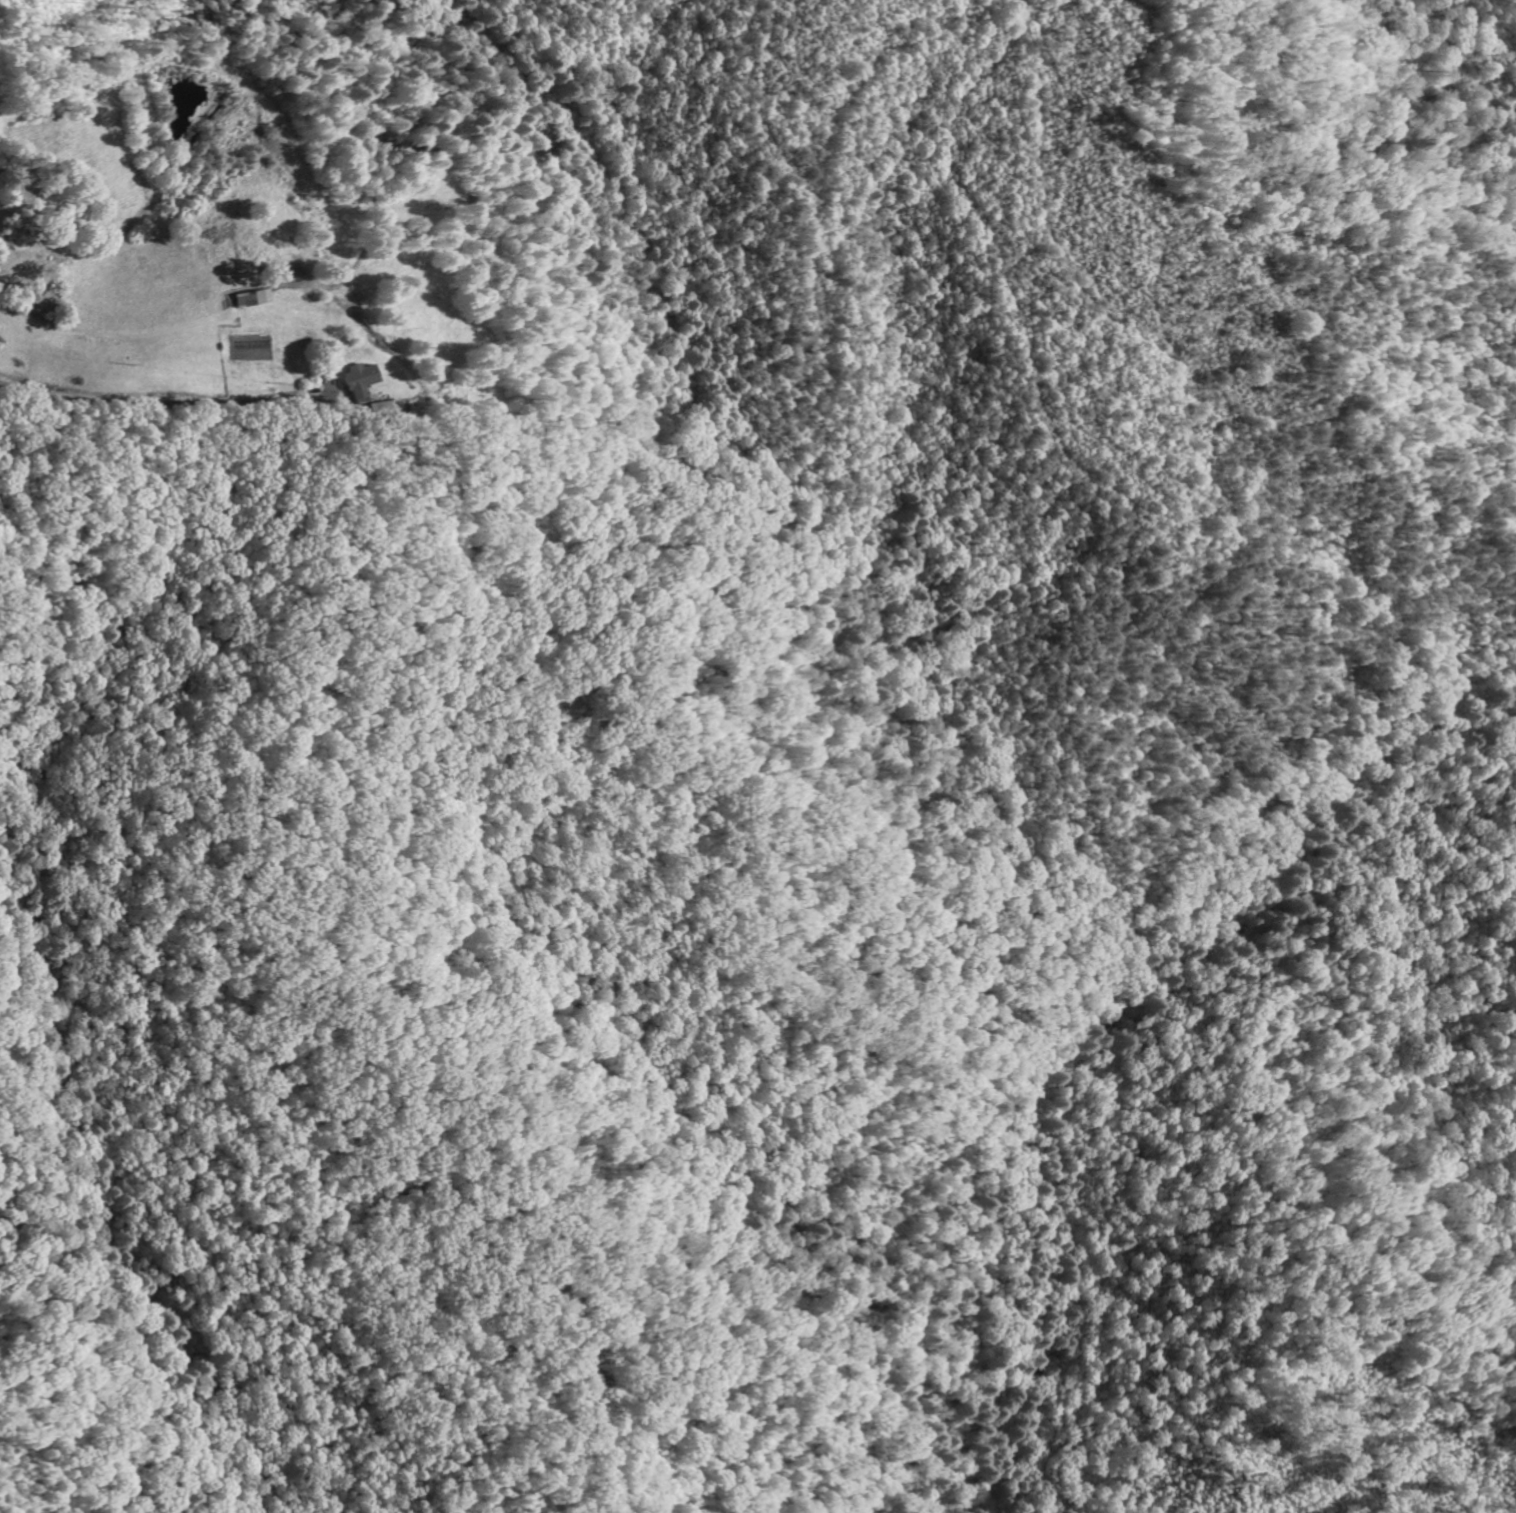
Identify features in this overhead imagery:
building: (250, 298)
building: (354, 381)
road: (154, 404)

